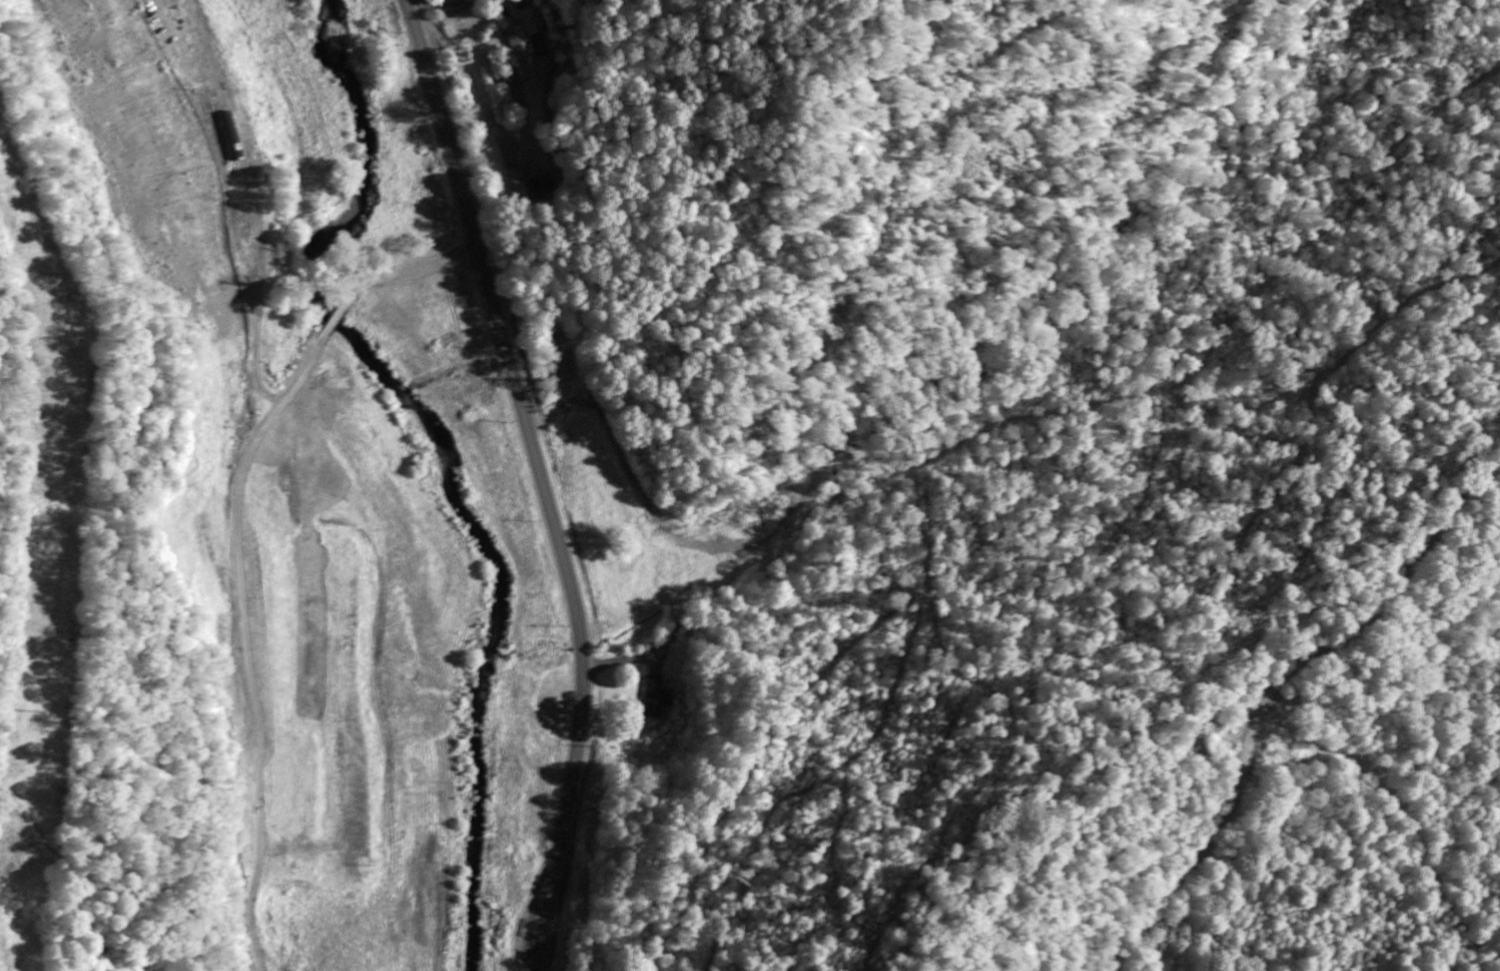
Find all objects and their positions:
building: (528, 49)
building: (229, 137)
building: (520, 185)
building: (544, 187)
road: (415, 271)
road: (337, 321)
road: (542, 480)
road: (245, 648)
road: (1275, 692)
building: (657, 698)

